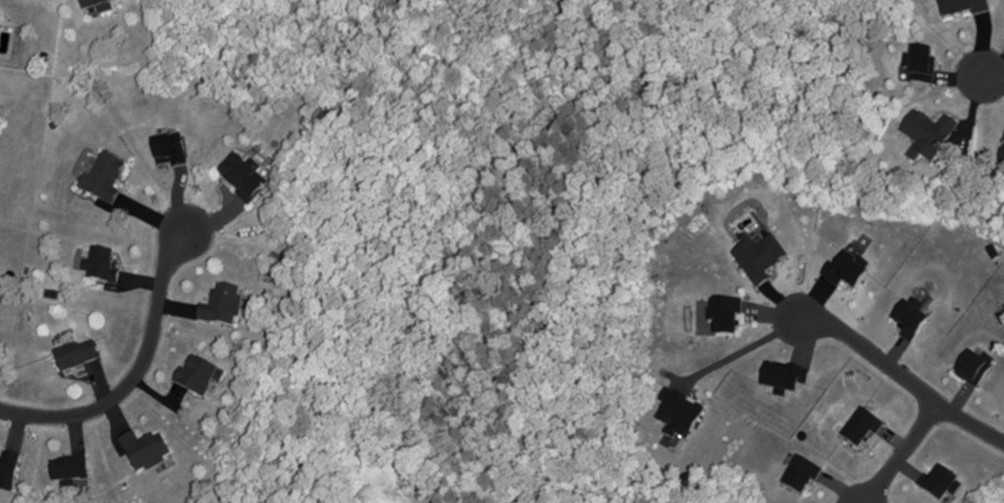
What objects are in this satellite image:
road: (989, 77)
road: (743, 347)
road: (133, 372)
road: (902, 378)
road: (900, 455)

